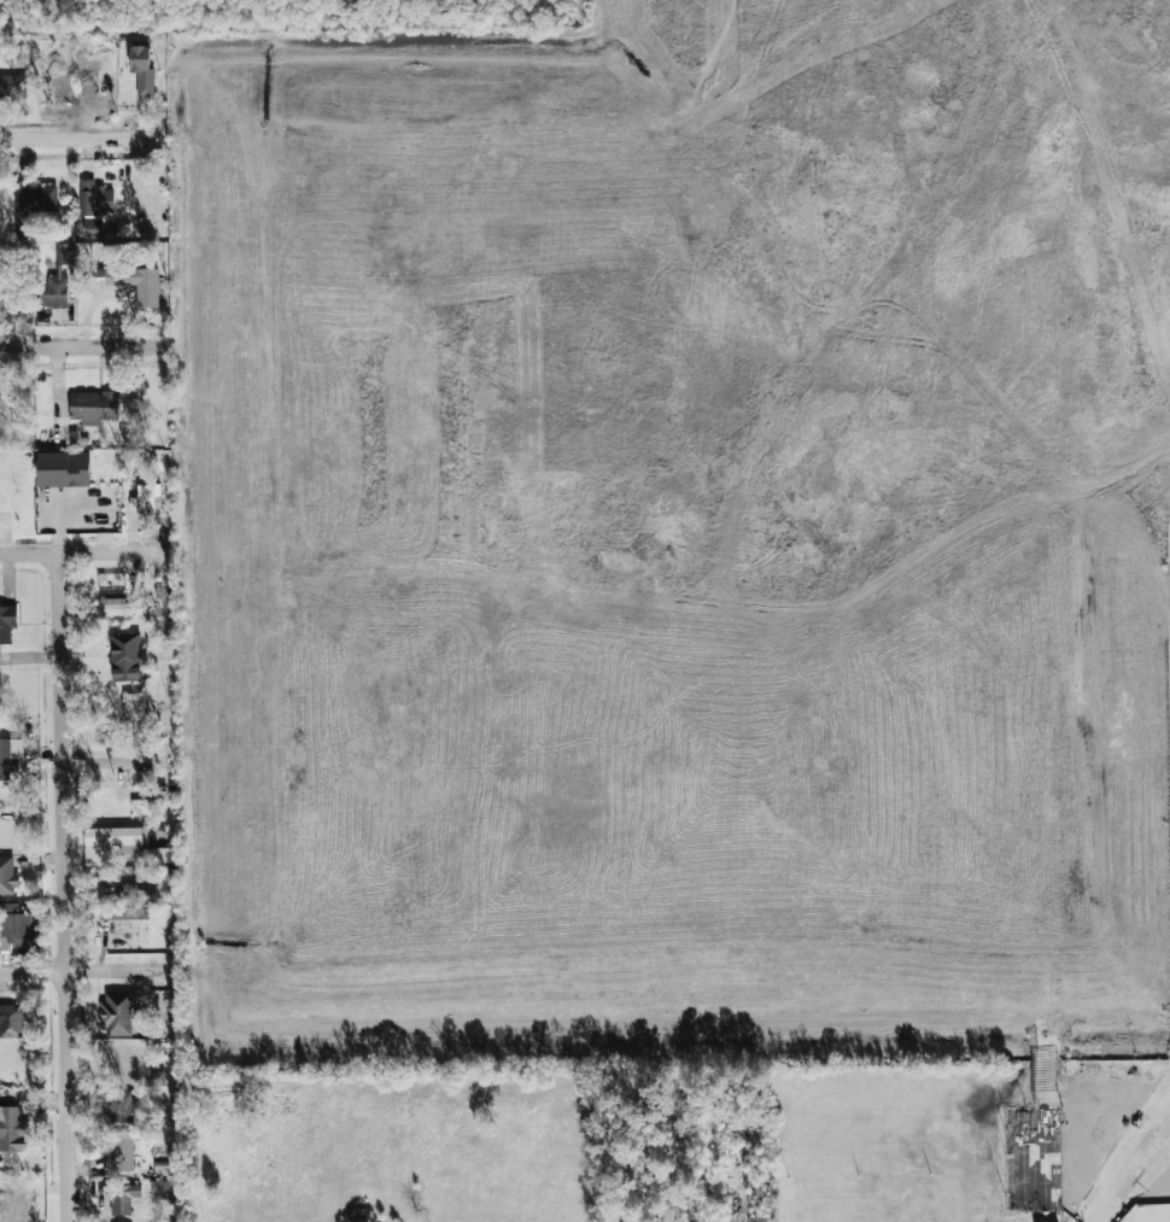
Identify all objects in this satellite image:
building: (141, 70)
building: (11, 87)
road: (77, 138)
building: (94, 199)
building: (31, 204)
building: (58, 280)
building: (136, 282)
road: (76, 346)
building: (93, 407)
building: (63, 469)
landfill: (674, 537)
road: (86, 552)
building: (119, 608)
building: (7, 622)
building: (124, 657)
building: (131, 711)
building: (8, 758)
road: (112, 765)
building: (111, 843)
building: (160, 855)
building: (7, 877)
road: (57, 887)
building: (133, 894)
building: (123, 913)
building: (13, 928)
road: (86, 970)
building: (117, 1013)
building: (11, 1022)
building: (119, 1106)
building: (12, 1130)
road: (1048, 1141)
building: (121, 1151)
road: (1127, 1156)
building: (160, 1191)
building: (118, 1198)

